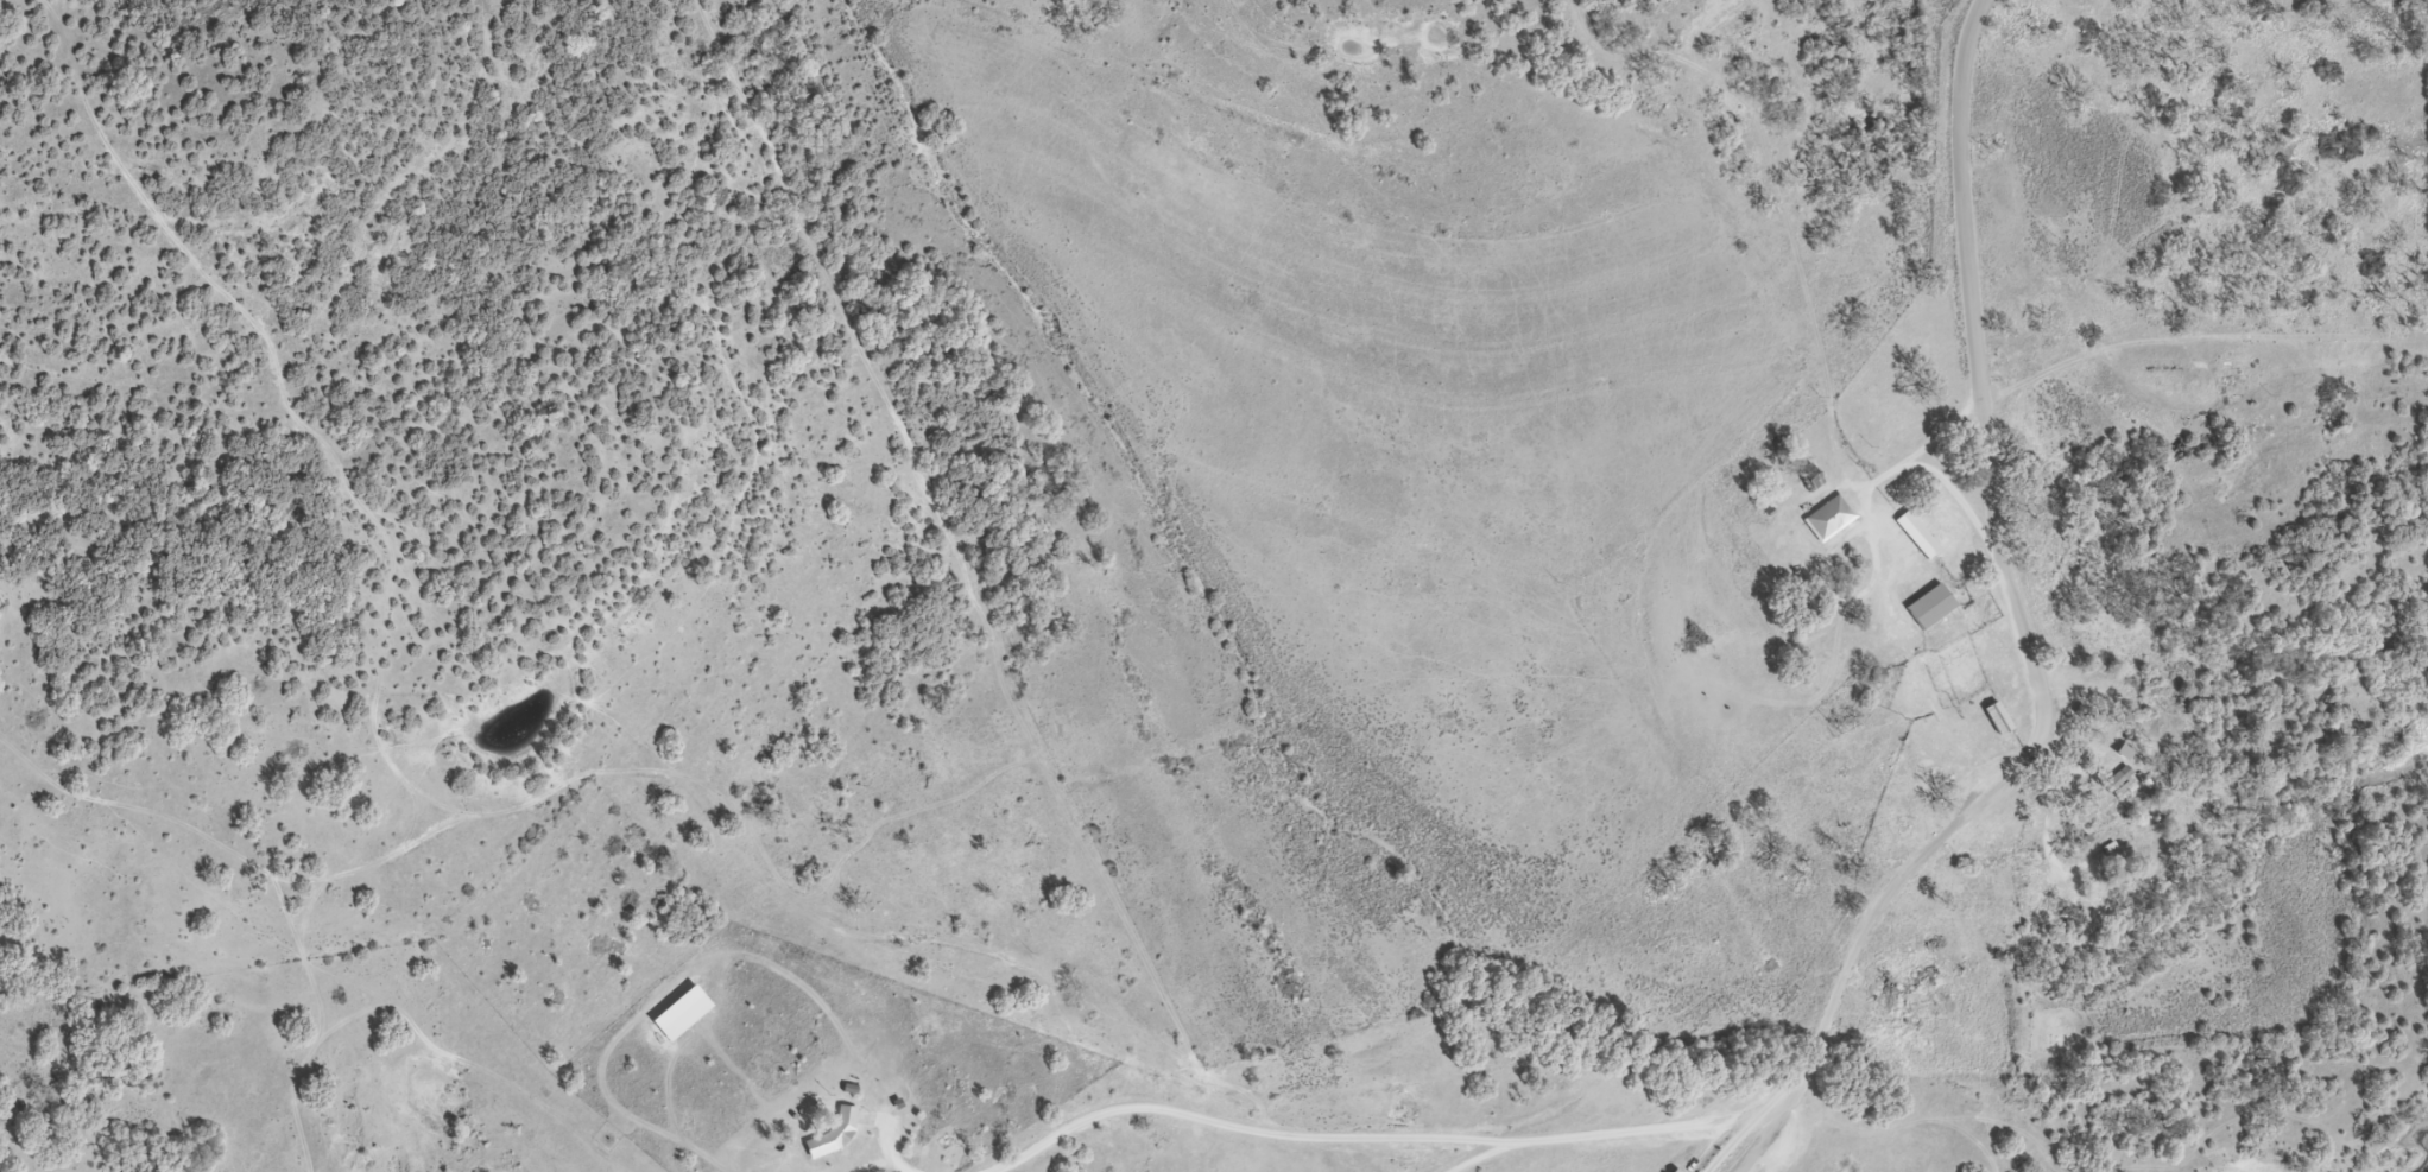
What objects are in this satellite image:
road: (1972, 14)
road: (1870, 501)
building: (1823, 520)
building: (1926, 609)
building: (1953, 665)
building: (1990, 715)
building: (2104, 851)
road: (1831, 1006)
road: (1763, 1132)
road: (1731, 1140)

